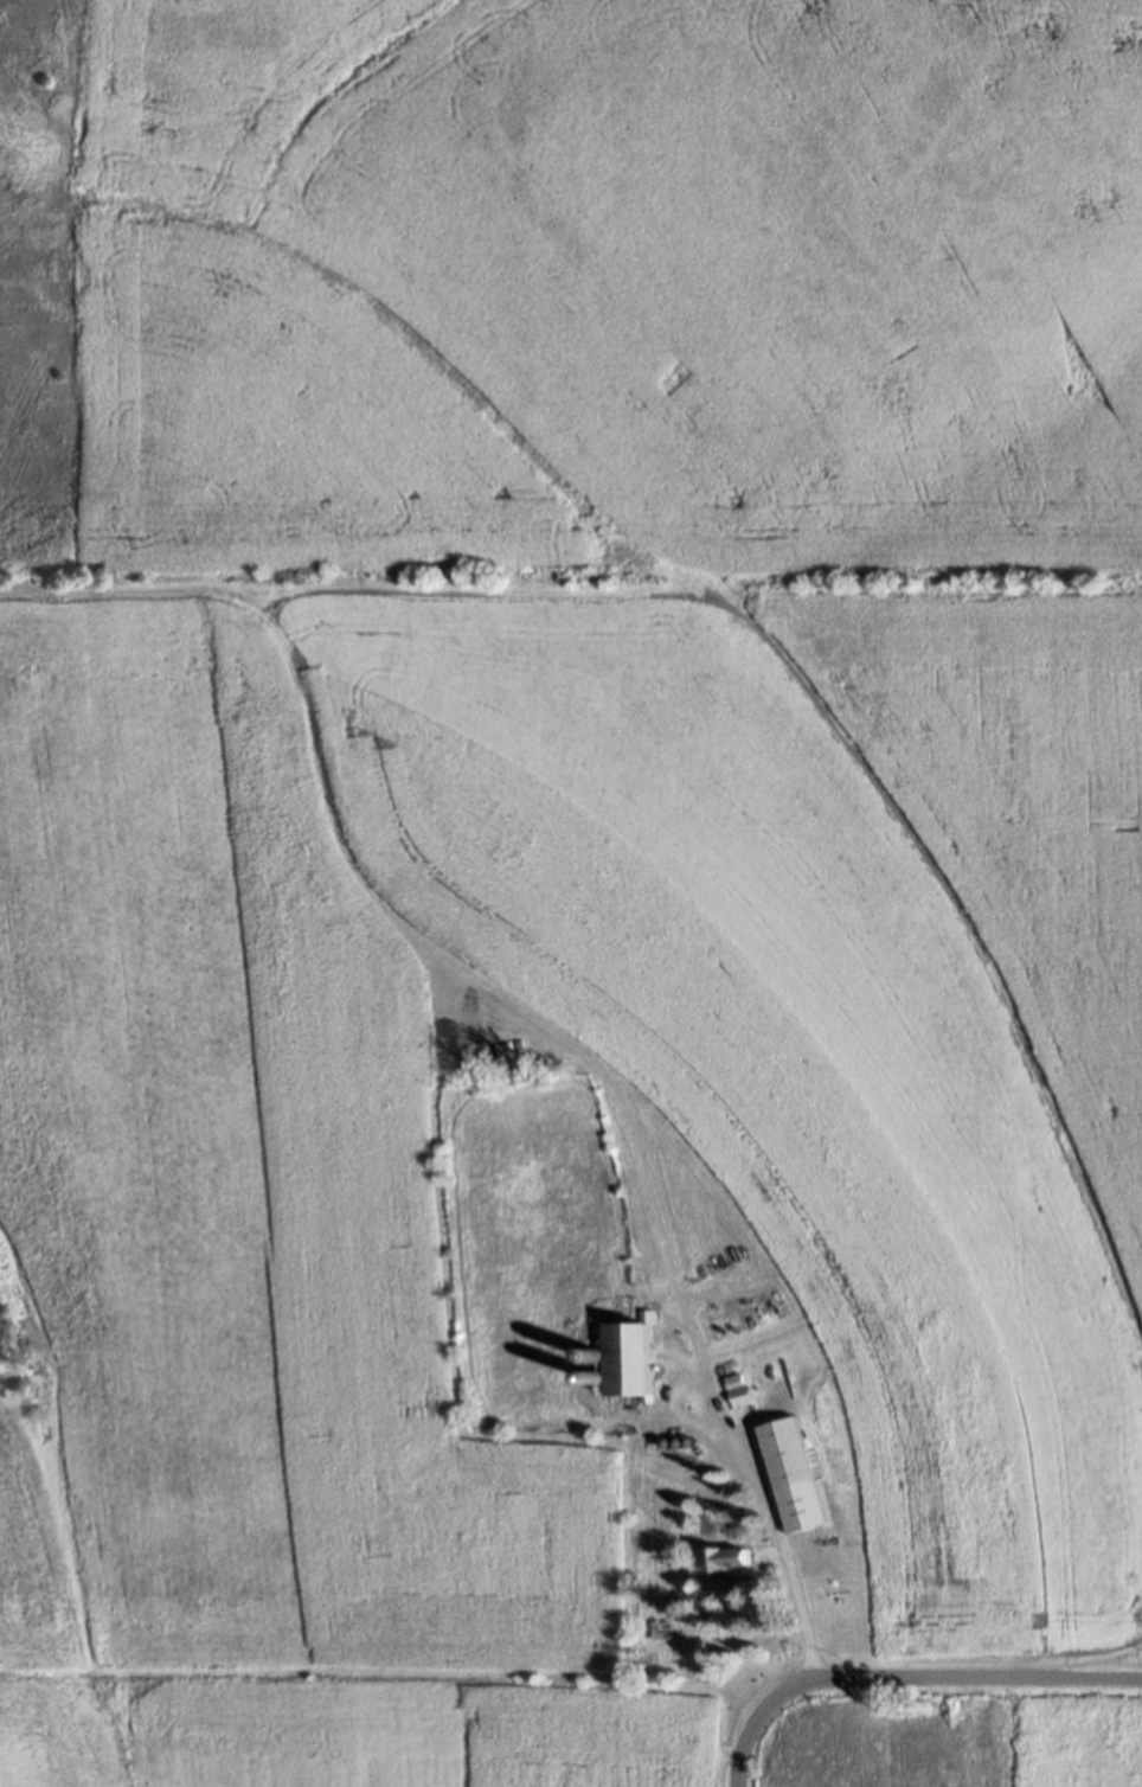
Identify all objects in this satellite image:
building: (630, 1356)
building: (742, 1395)
building: (797, 1473)
road: (758, 1484)
building: (729, 1556)
building: (663, 1629)
road: (906, 1679)

